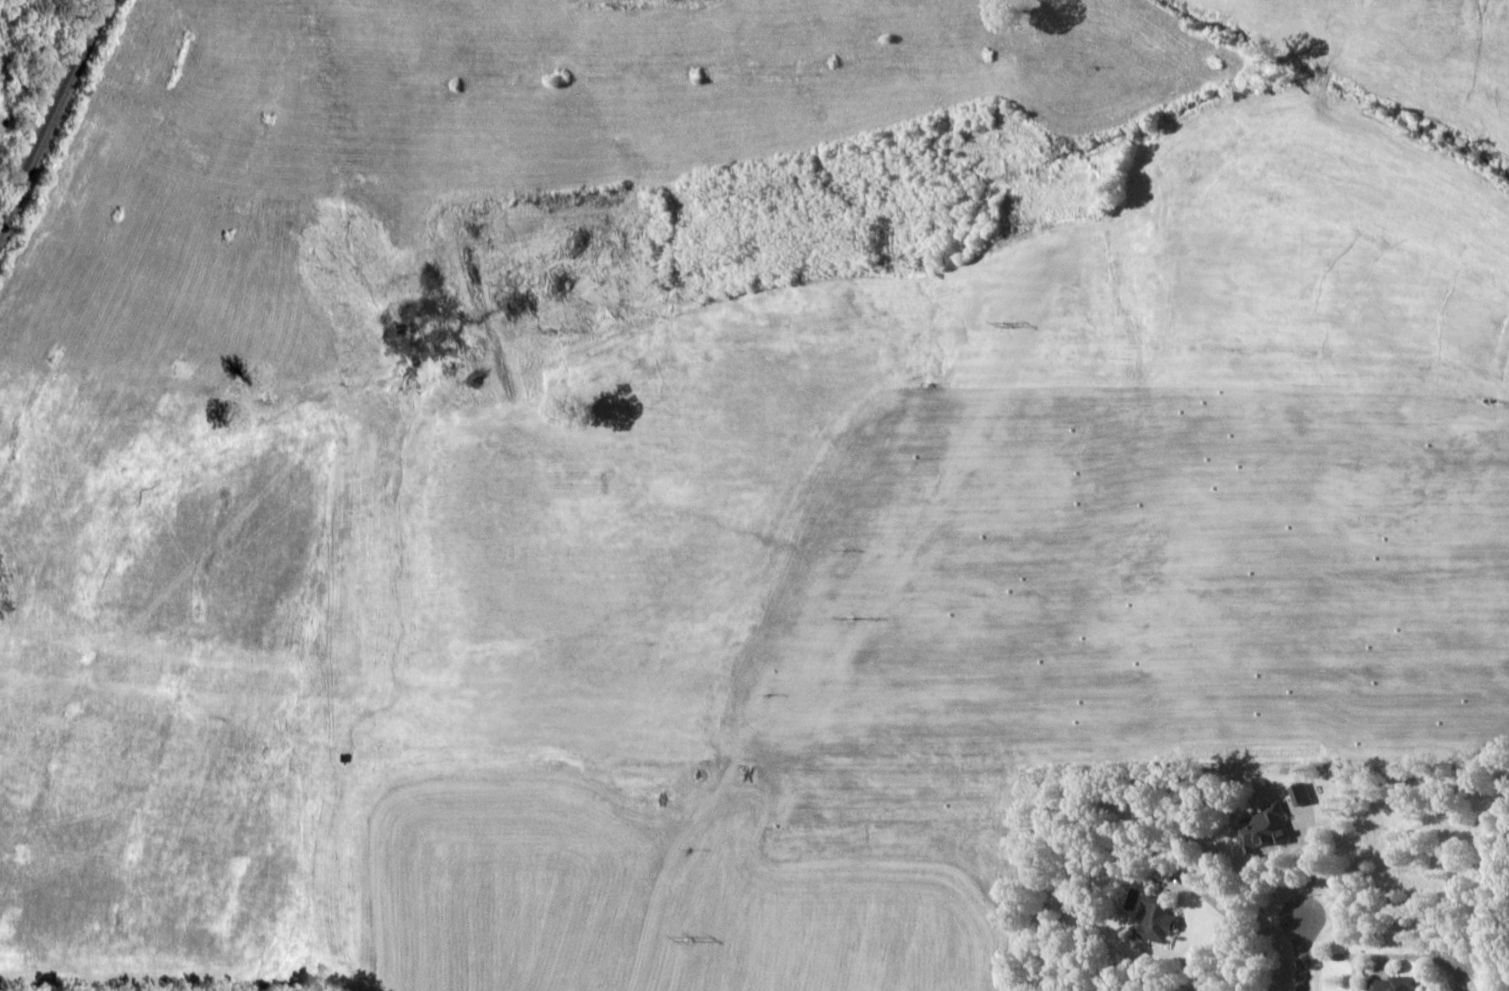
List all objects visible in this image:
railway: (50, 109)
building: (1298, 793)
building: (1261, 828)
building: (1158, 919)
building: (1394, 983)

